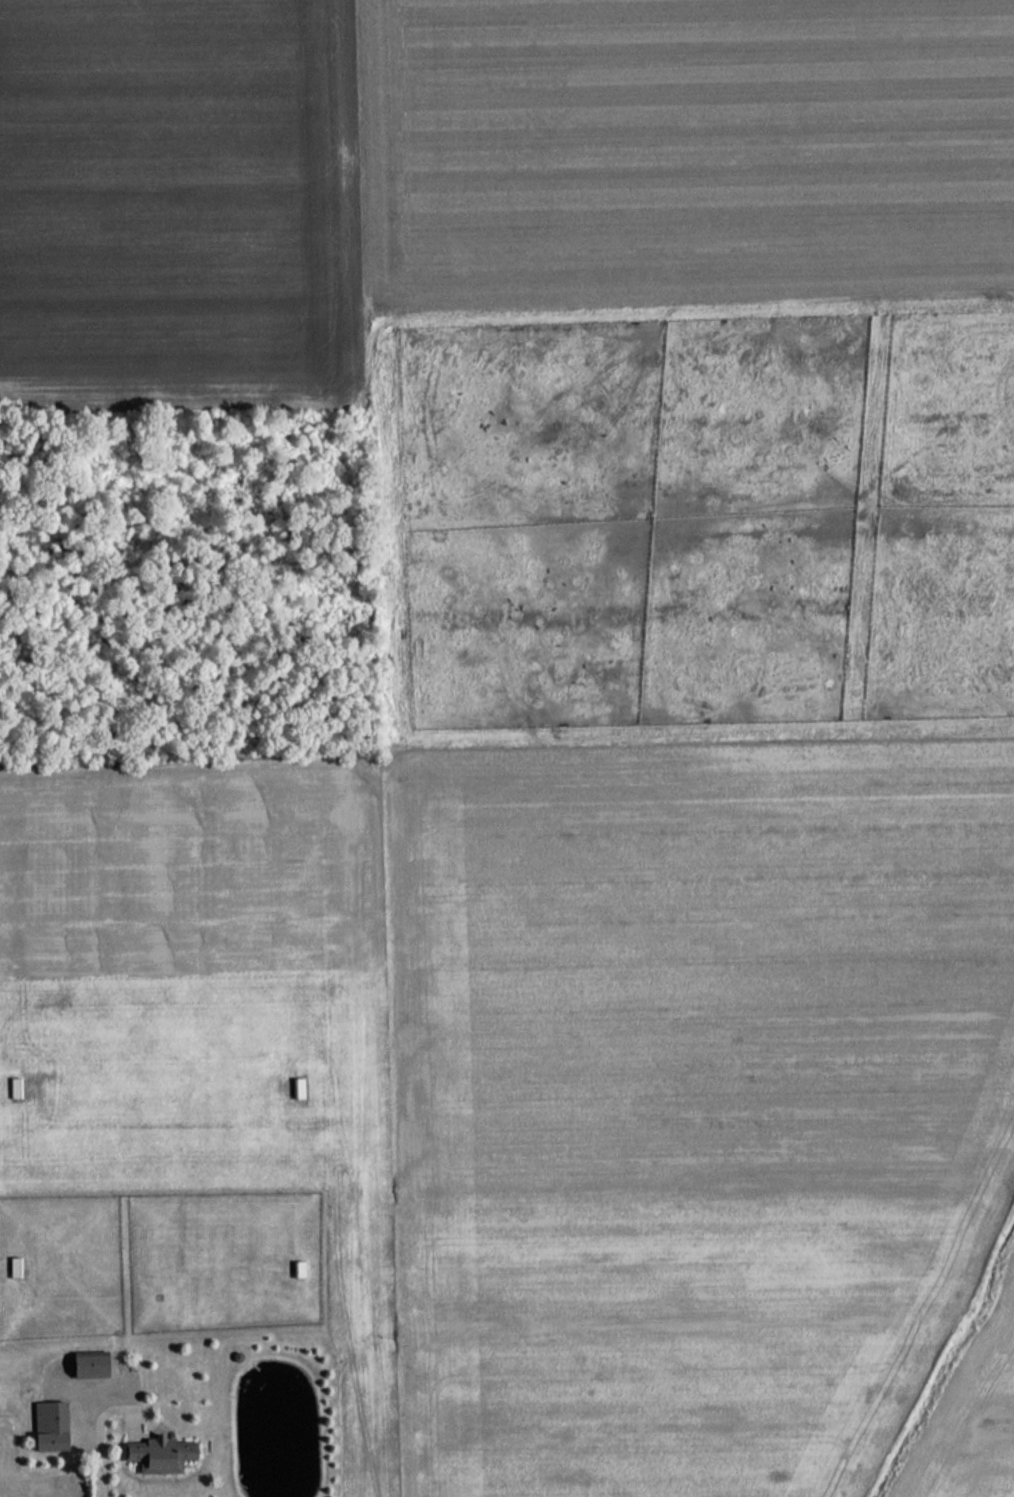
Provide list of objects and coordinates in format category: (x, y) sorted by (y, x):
crop: (681, 157)
crop: (177, 203)
crop: (191, 871)
crop: (688, 1096)
building: (89, 1366)
crop: (972, 1408)
building: (49, 1427)
crop: (7, 1443)
road: (101, 1448)
building: (160, 1457)

